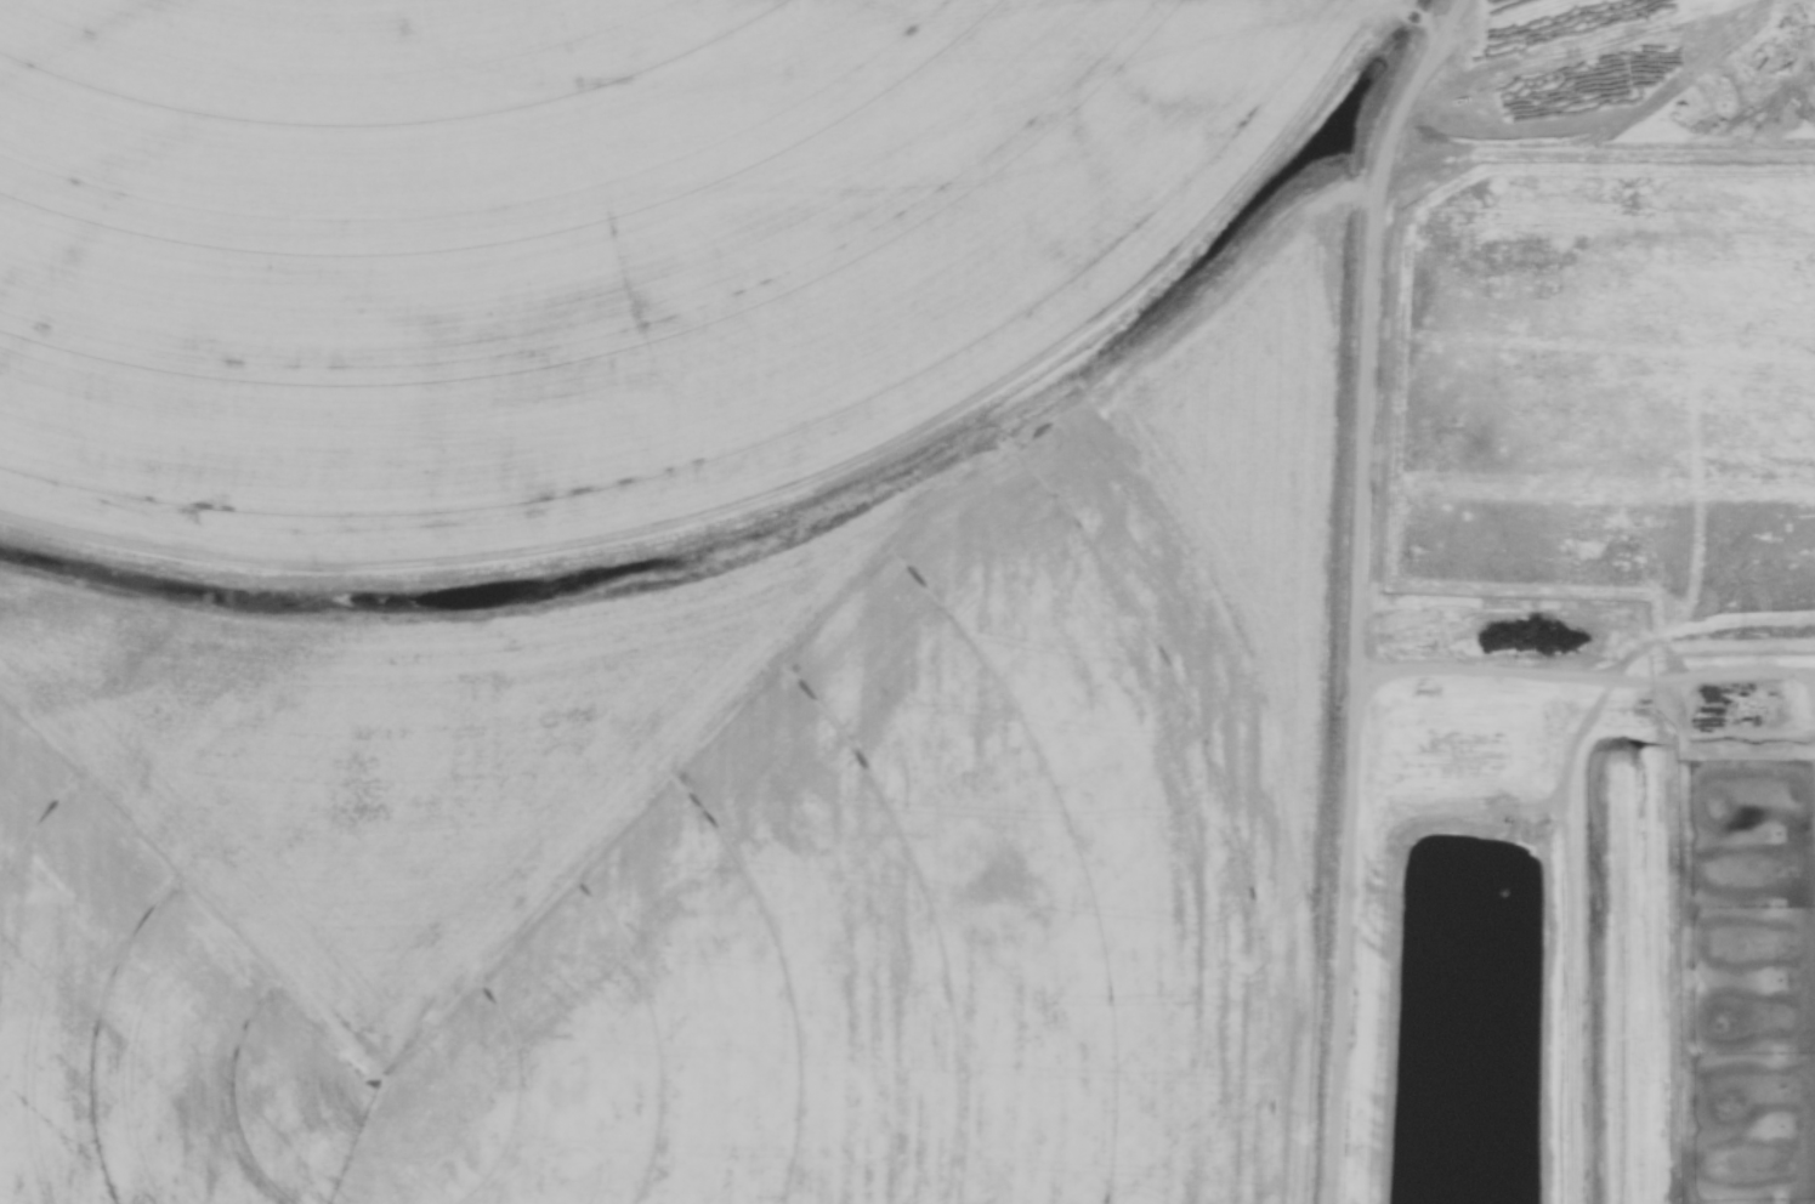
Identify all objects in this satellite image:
building: (1709, 722)

